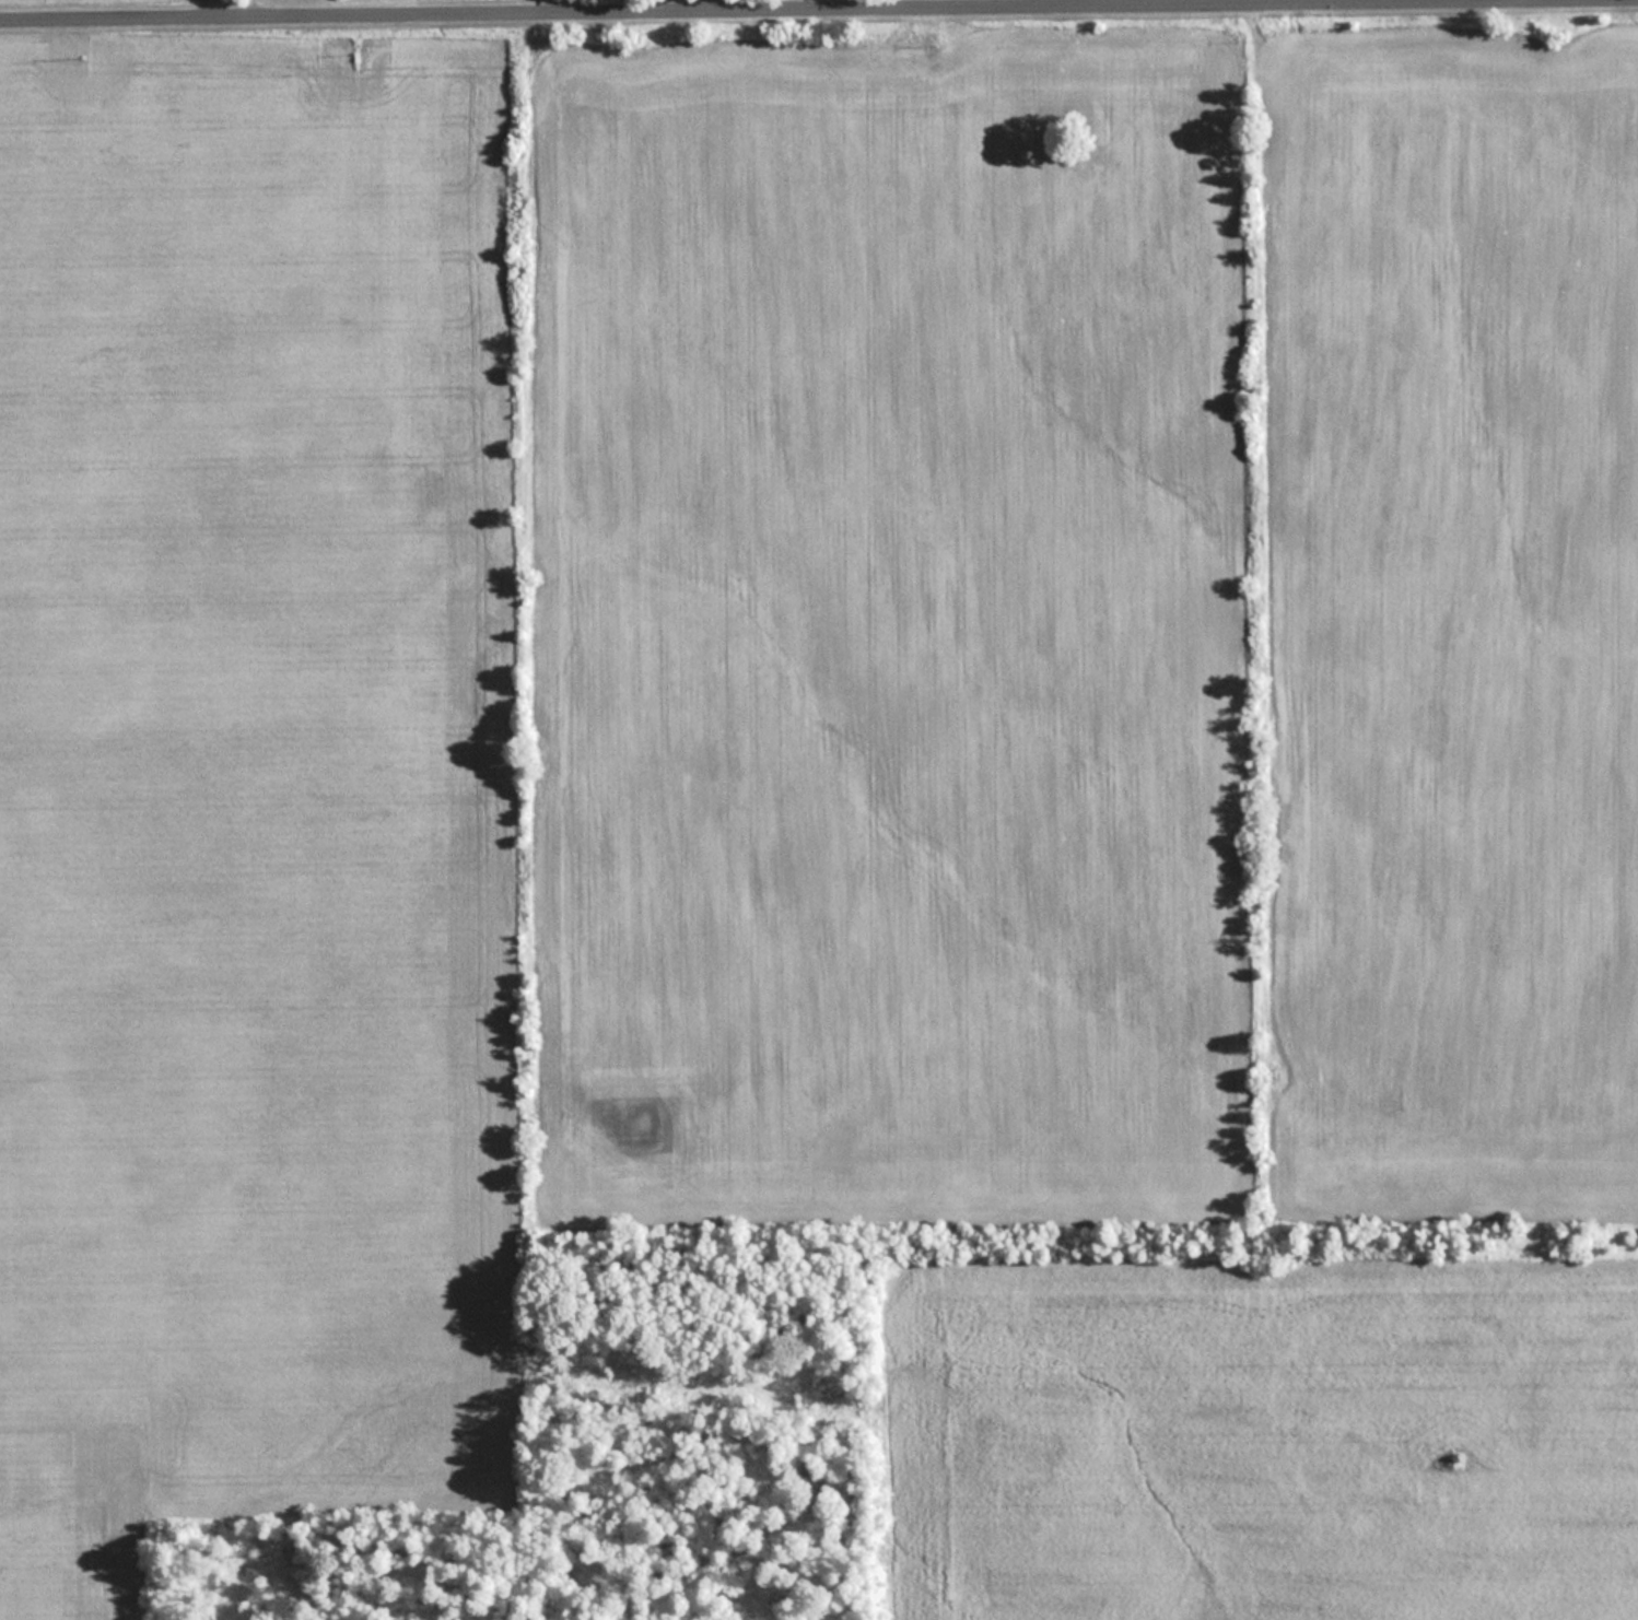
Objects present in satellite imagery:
road: (818, 12)

